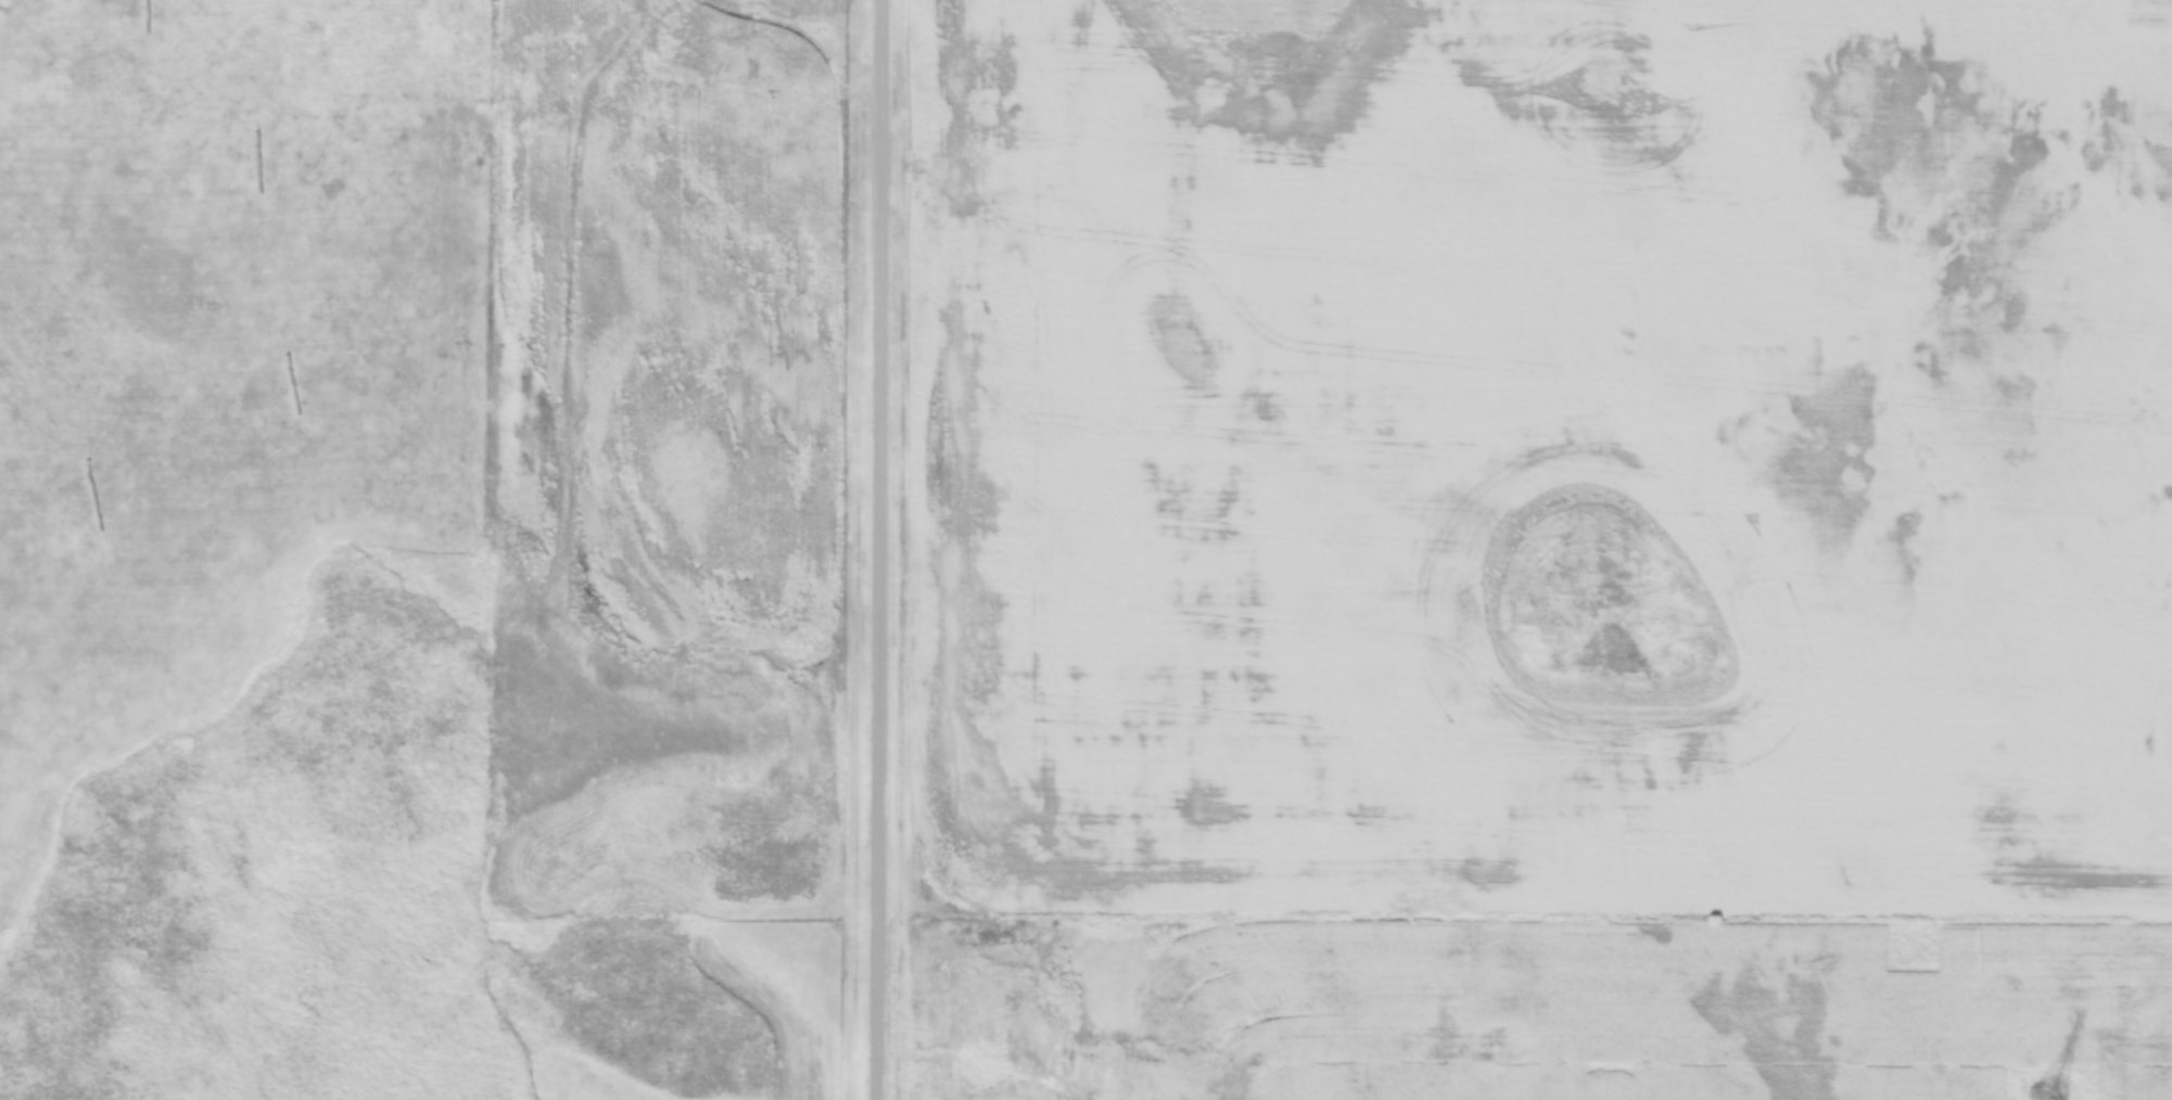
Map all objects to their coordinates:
road: (806, 93)
road: (882, 550)
power tower: (2050, 1098)

